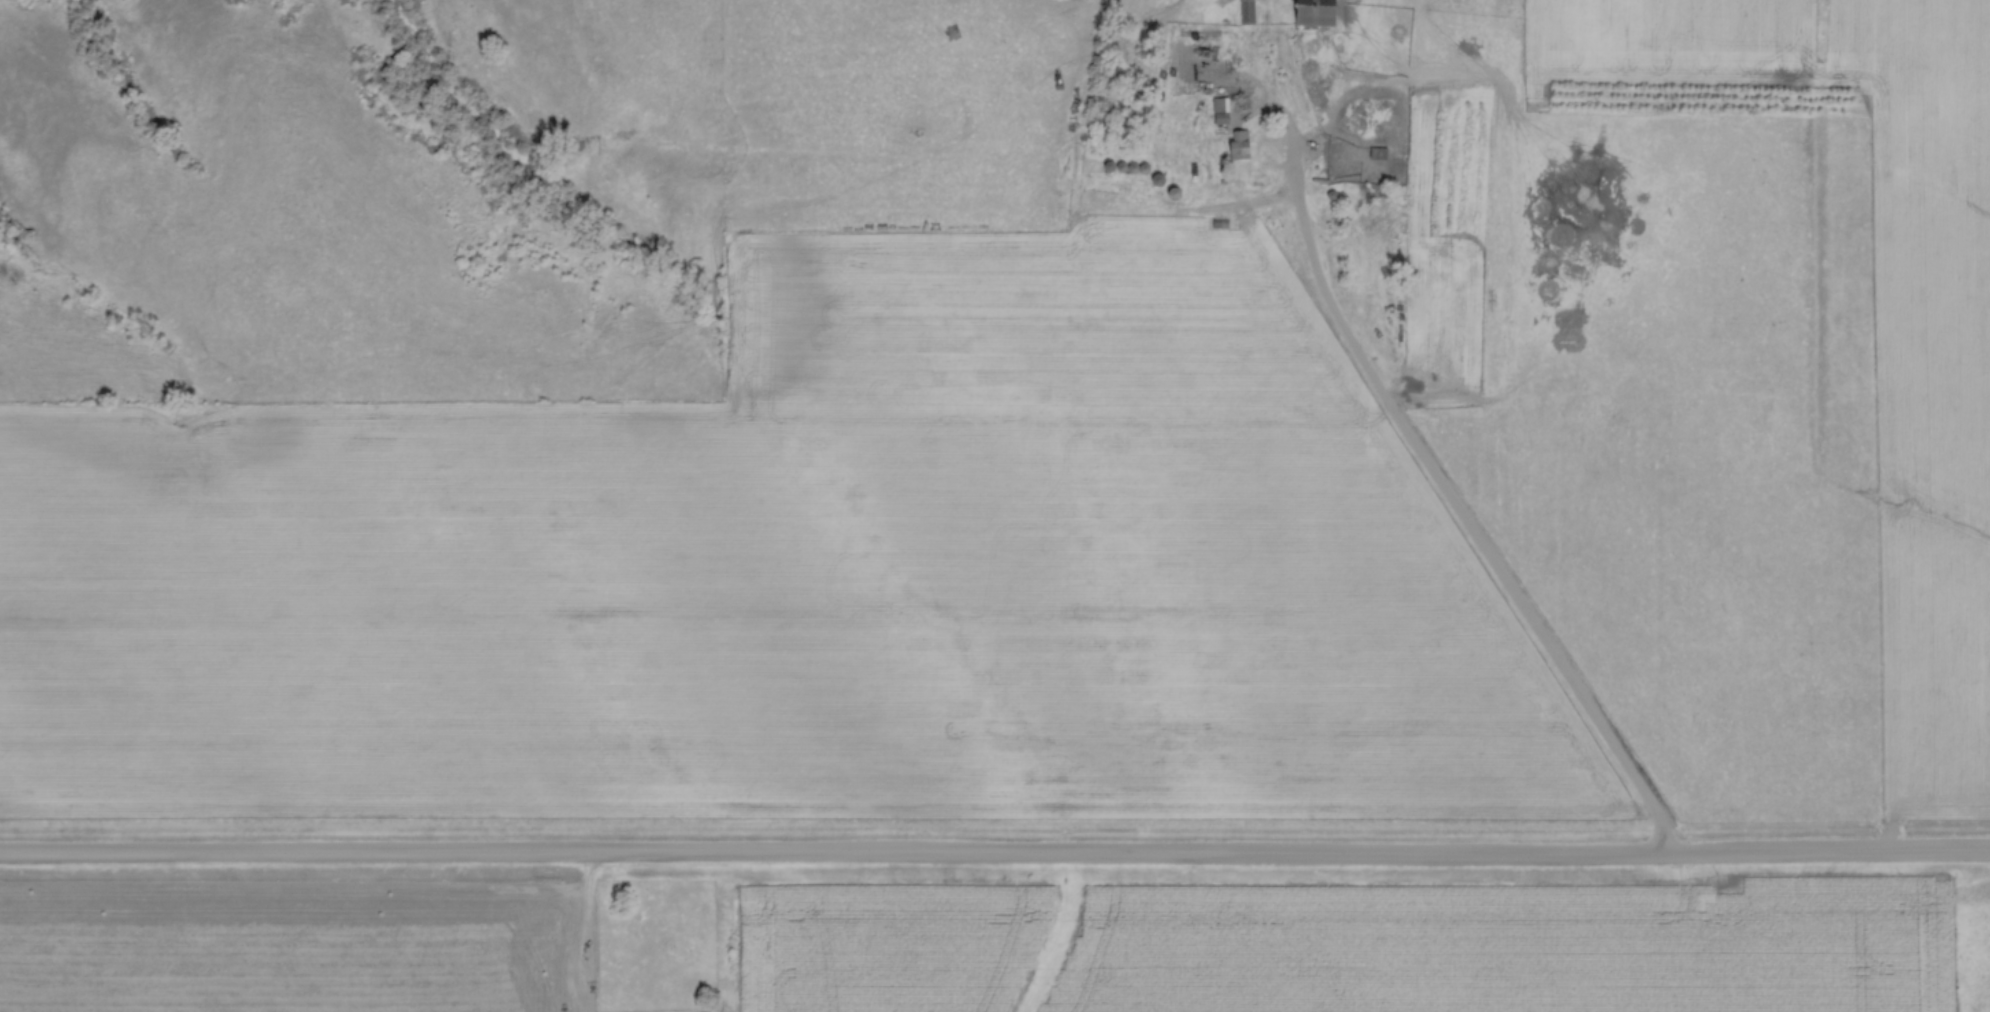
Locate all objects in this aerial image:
building: (1249, 12)
building: (1319, 13)
building: (1275, 71)
building: (1222, 110)
building: (1241, 145)
road: (1438, 487)
road: (995, 858)

